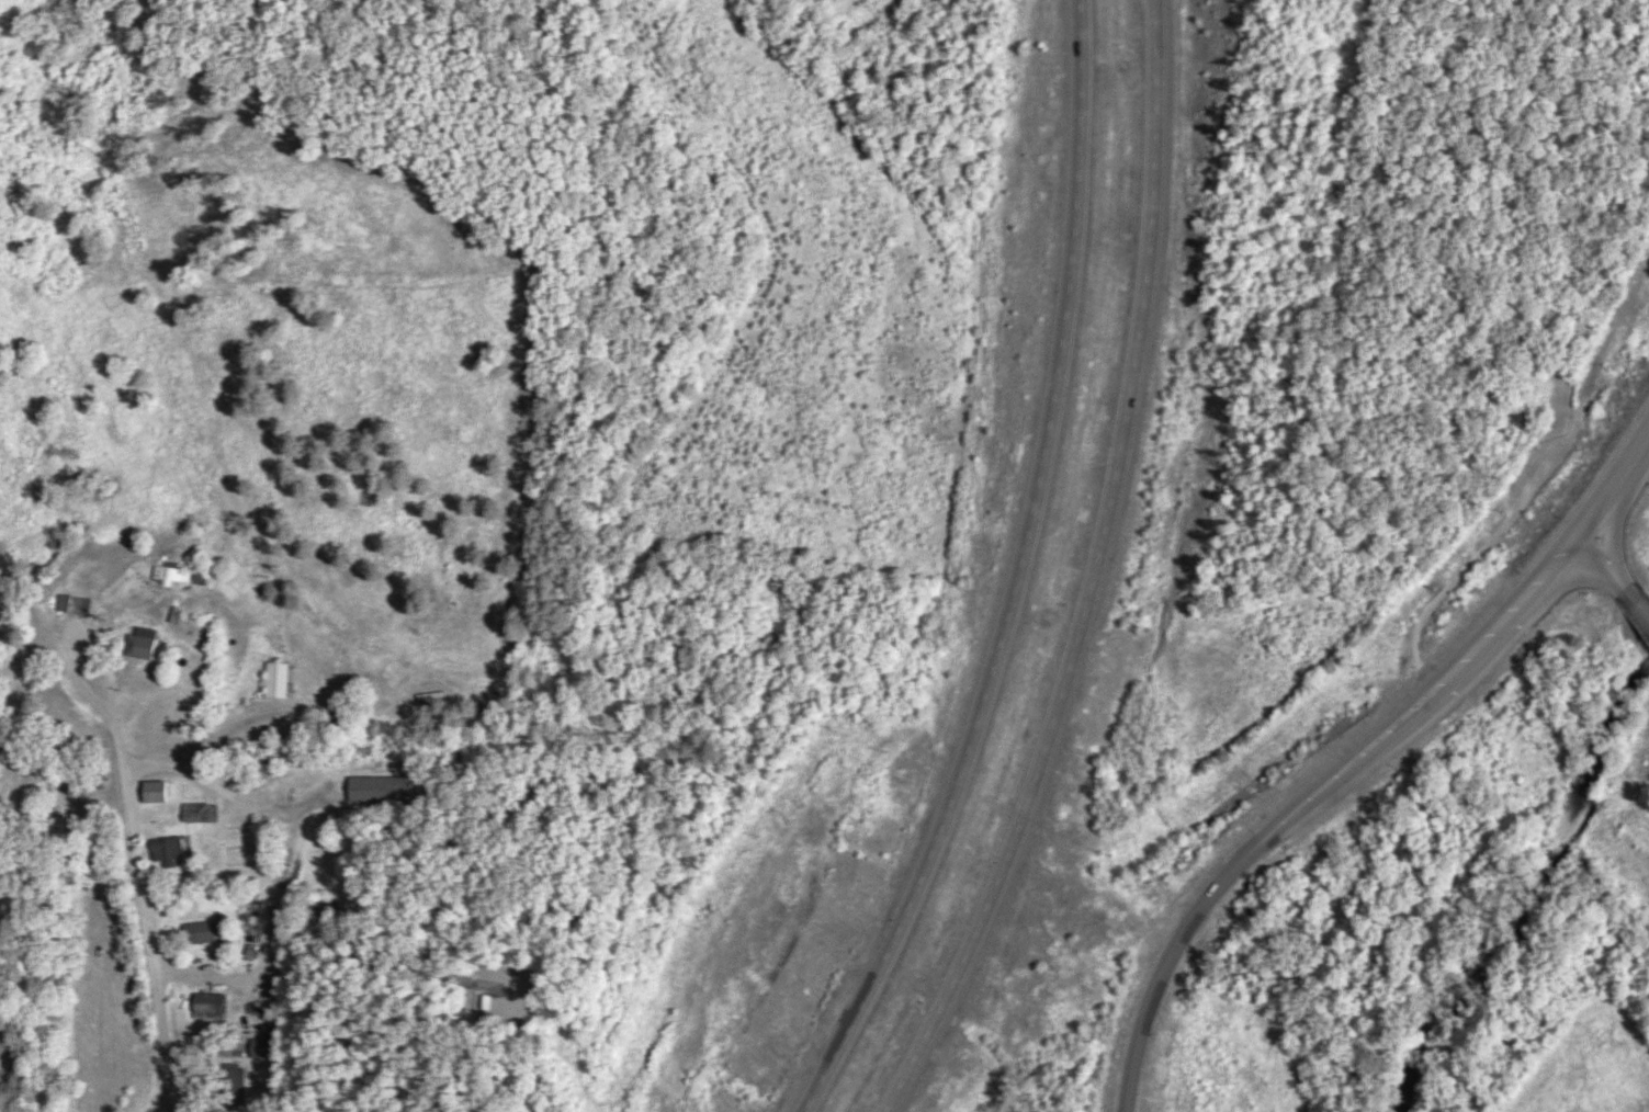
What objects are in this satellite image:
road: (1013, 575)
building: (176, 576)
road: (1613, 576)
road: (1109, 579)
building: (74, 604)
building: (144, 643)
building: (274, 680)
road: (1355, 760)
park: (52, 773)
building: (379, 788)
building: (156, 791)
building: (194, 813)
road: (145, 921)
building: (201, 933)
building: (210, 1003)
building: (262, 1048)

